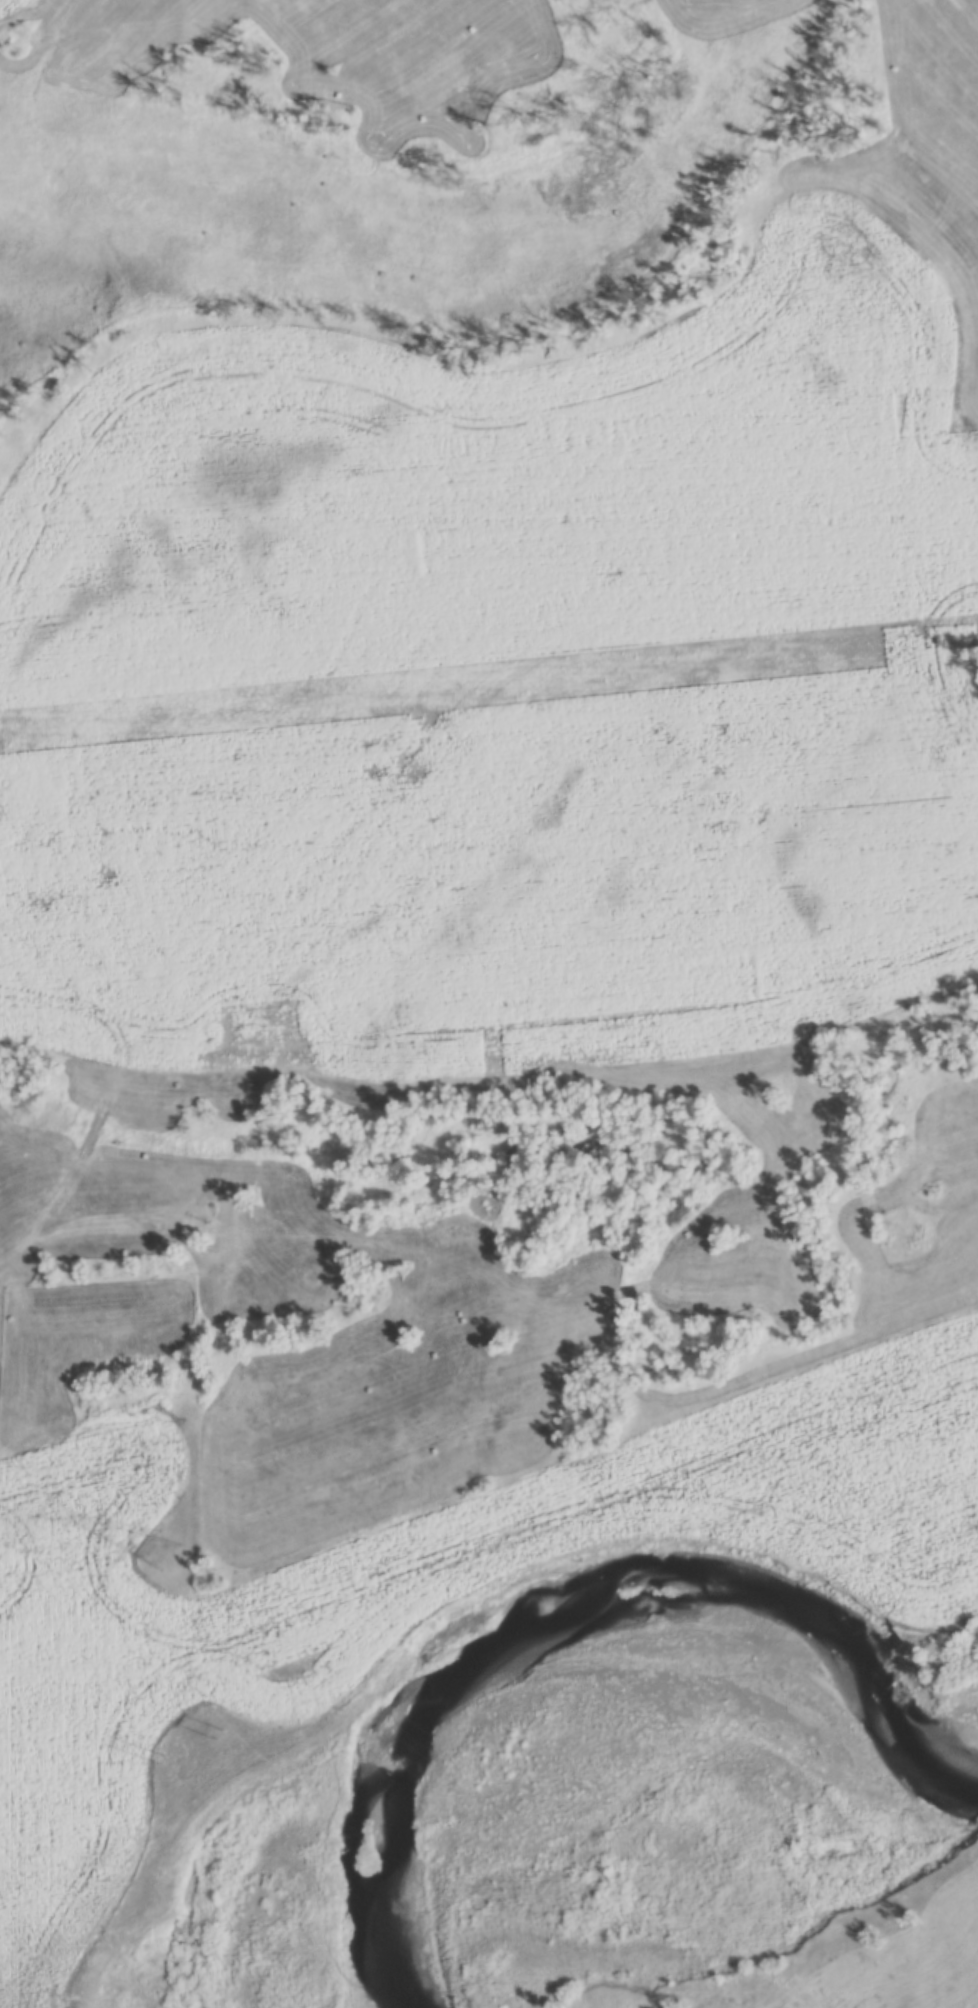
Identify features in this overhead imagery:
power tower: (165, 1553)

